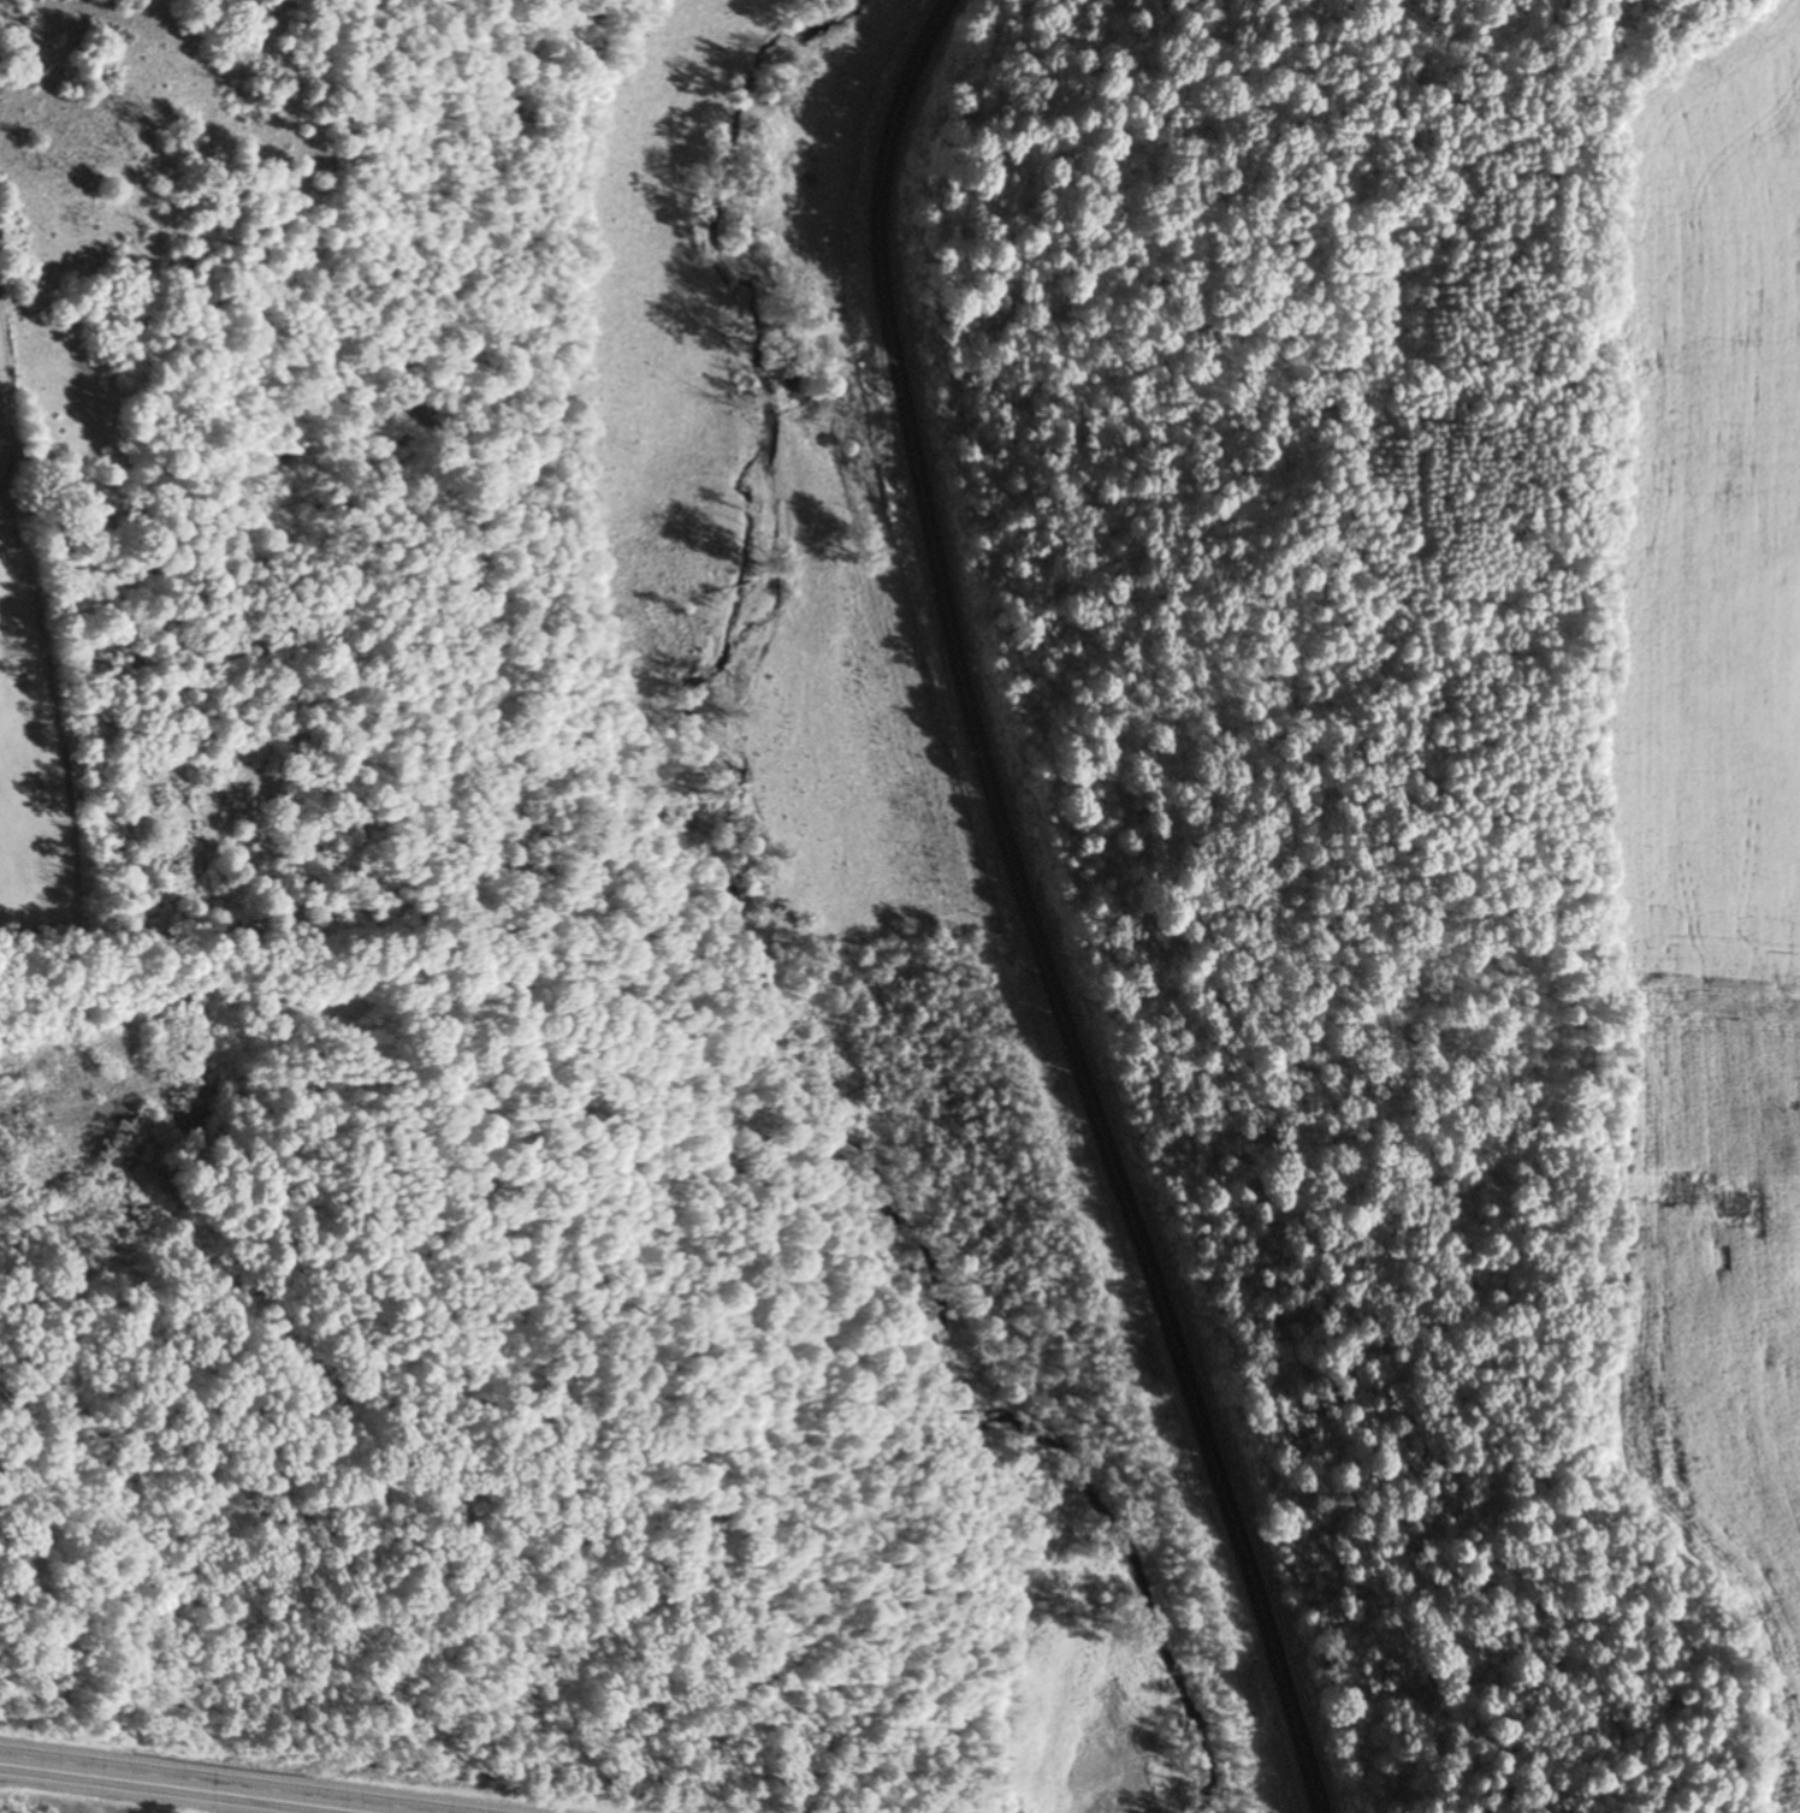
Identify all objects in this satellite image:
road: (1019, 914)
road: (188, 1788)

